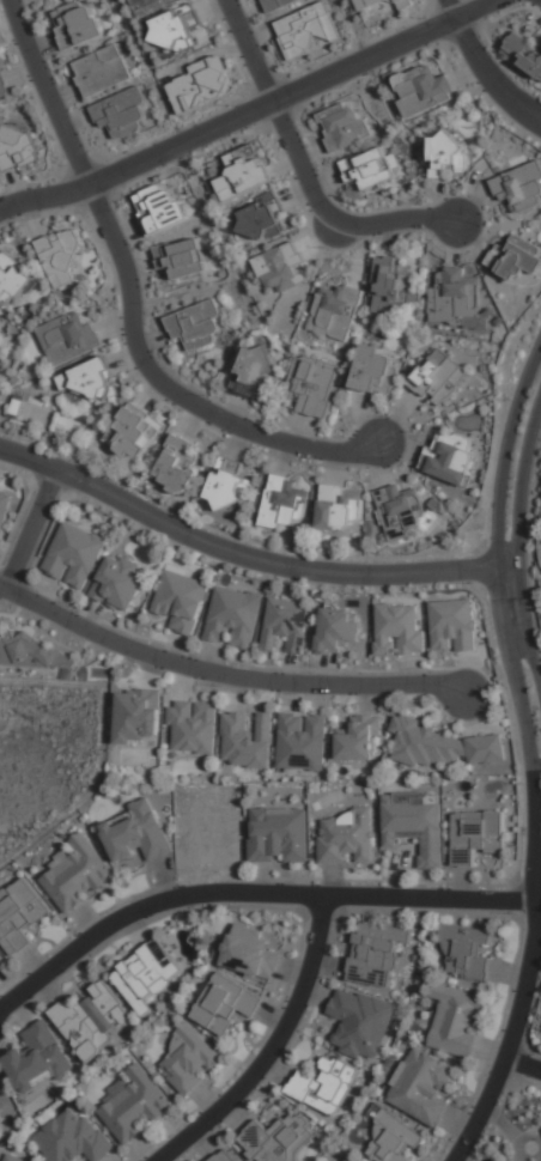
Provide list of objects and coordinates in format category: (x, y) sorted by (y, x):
building: (367, 2)
building: (278, 4)
building: (403, 4)
building: (150, 6)
road: (450, 10)
building: (75, 24)
building: (177, 28)
building: (305, 29)
building: (523, 53)
road: (497, 60)
building: (101, 71)
road: (488, 75)
building: (2, 84)
building: (201, 84)
building: (423, 90)
road: (251, 109)
building: (121, 113)
building: (344, 128)
building: (17, 147)
building: (445, 156)
building: (370, 168)
road: (304, 170)
building: (243, 178)
building: (519, 188)
building: (160, 207)
building: (262, 219)
building: (60, 255)
building: (181, 257)
building: (516, 260)
building: (281, 267)
building: (13, 278)
building: (393, 285)
building: (455, 298)
road: (134, 302)
building: (335, 311)
building: (195, 324)
building: (67, 338)
building: (254, 369)
building: (373, 370)
building: (438, 377)
building: (87, 381)
building: (312, 384)
road: (518, 400)
road: (530, 425)
building: (134, 433)
road: (30, 456)
building: (449, 460)
building: (178, 464)
building: (227, 484)
building: (282, 504)
building: (336, 506)
building: (2, 509)
building: (399, 511)
road: (34, 528)
building: (73, 555)
road: (278, 564)
road: (517, 577)
building: (117, 582)
building: (180, 600)
building: (232, 618)
building: (284, 626)
building: (452, 627)
building: (397, 630)
building: (335, 631)
road: (506, 643)
building: (30, 651)
road: (224, 673)
building: (136, 715)
building: (192, 727)
building: (245, 740)
building: (357, 741)
building: (300, 742)
building: (440, 744)
building: (414, 823)
building: (134, 833)
building: (278, 835)
building: (476, 835)
road: (536, 837)
building: (345, 839)
building: (75, 875)
road: (251, 890)
building: (19, 914)
building: (466, 952)
building: (375, 953)
building: (250, 954)
building: (1, 958)
building: (145, 974)
building: (225, 1004)
building: (91, 1019)
building: (456, 1021)
building: (360, 1023)
road: (515, 1025)
road: (272, 1048)
building: (36, 1059)
building: (189, 1059)
road: (524, 1063)
building: (324, 1086)
building: (421, 1088)
building: (132, 1107)
building: (1, 1114)
building: (1, 1119)
building: (2, 1133)
building: (540, 1133)
building: (278, 1138)
building: (73, 1139)
building: (391, 1141)
building: (223, 1156)
building: (22, 1159)
building: (346, 1160)

